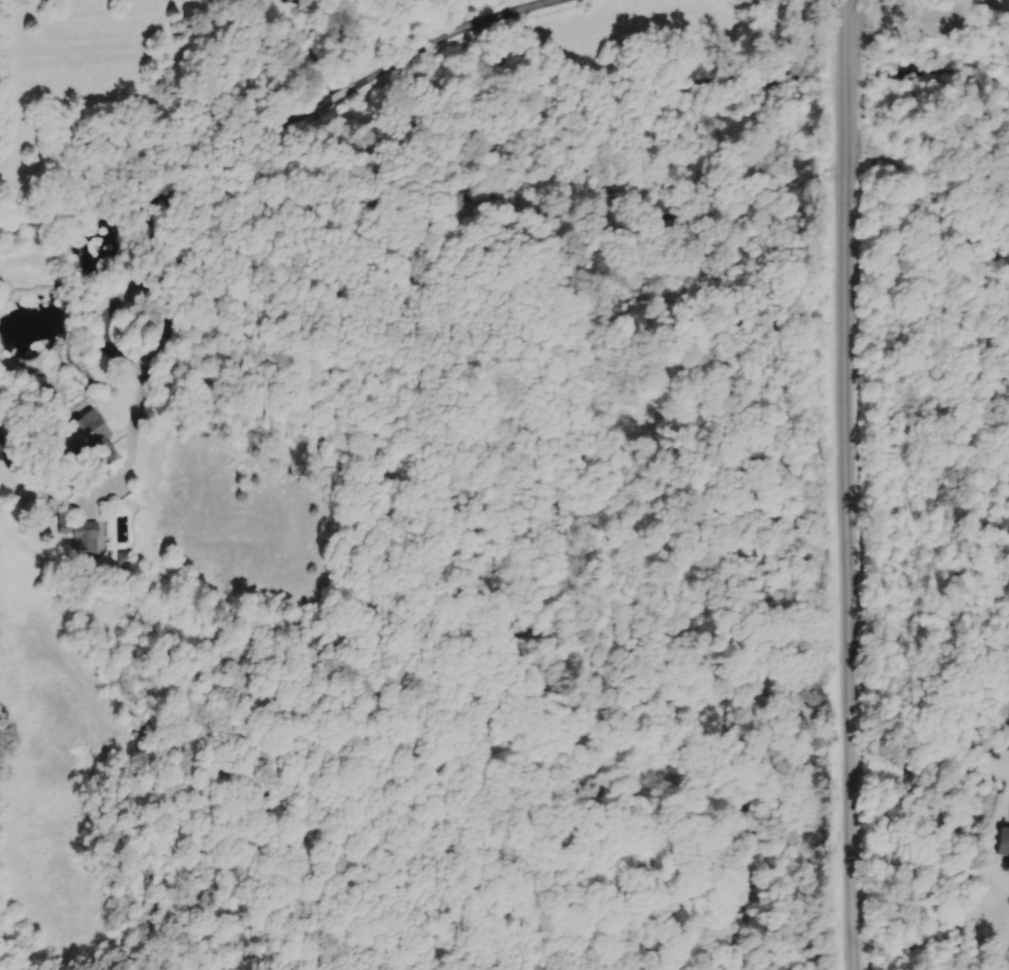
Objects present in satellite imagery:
road: (450, 36)
road: (339, 98)
road: (863, 152)
road: (953, 218)
road: (156, 251)
park: (937, 372)
building: (91, 442)
road: (11, 462)
building: (79, 534)
road: (992, 840)
road: (855, 854)
road: (928, 864)

